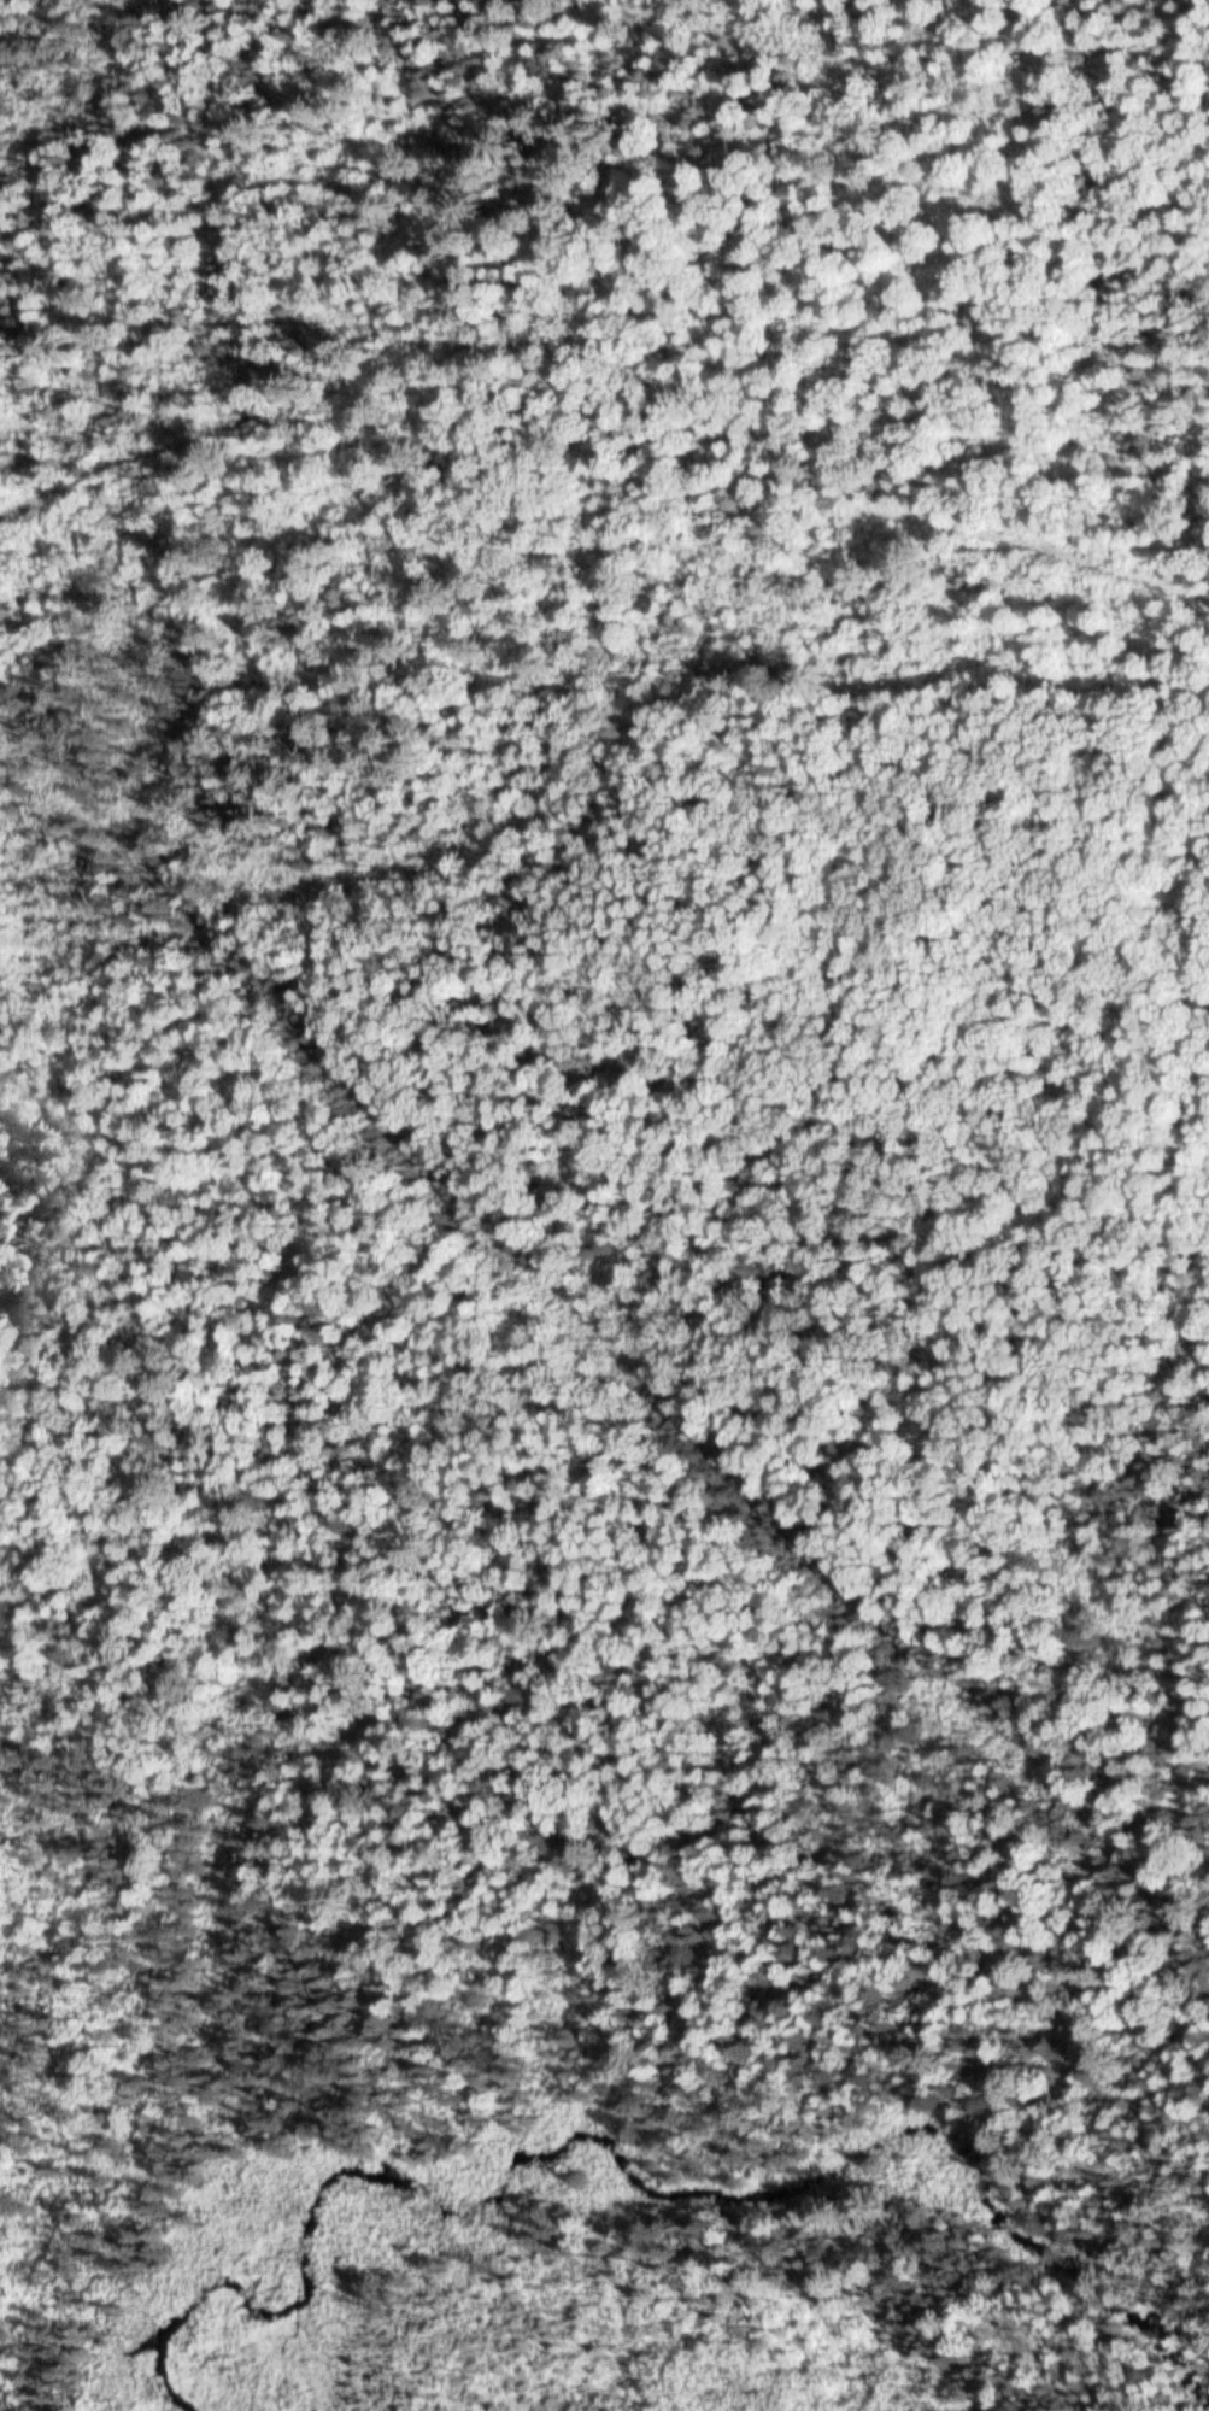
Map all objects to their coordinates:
road: (587, 2371)

